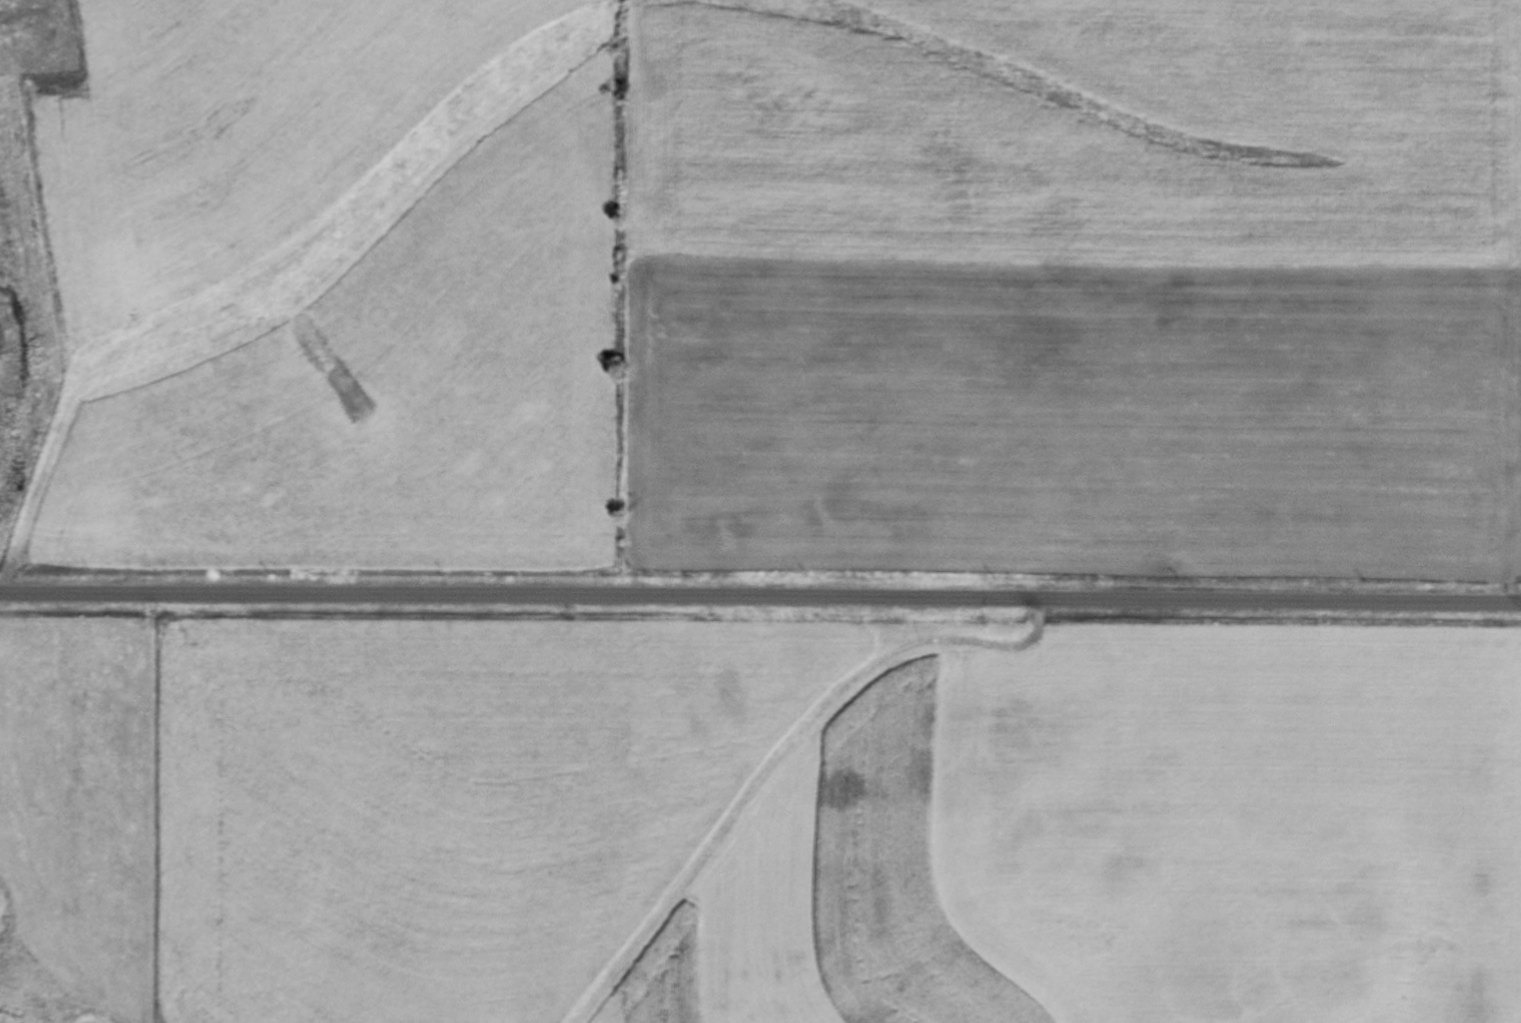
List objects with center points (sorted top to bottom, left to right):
road: (760, 598)

